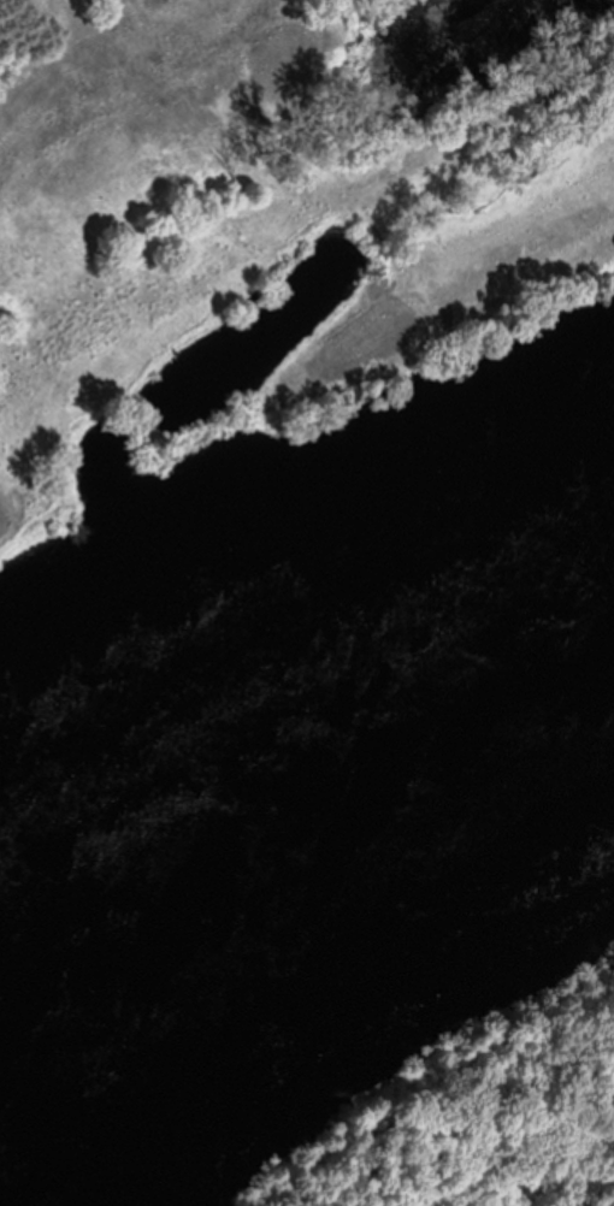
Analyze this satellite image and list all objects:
park: (268, 221)
river: (308, 812)

